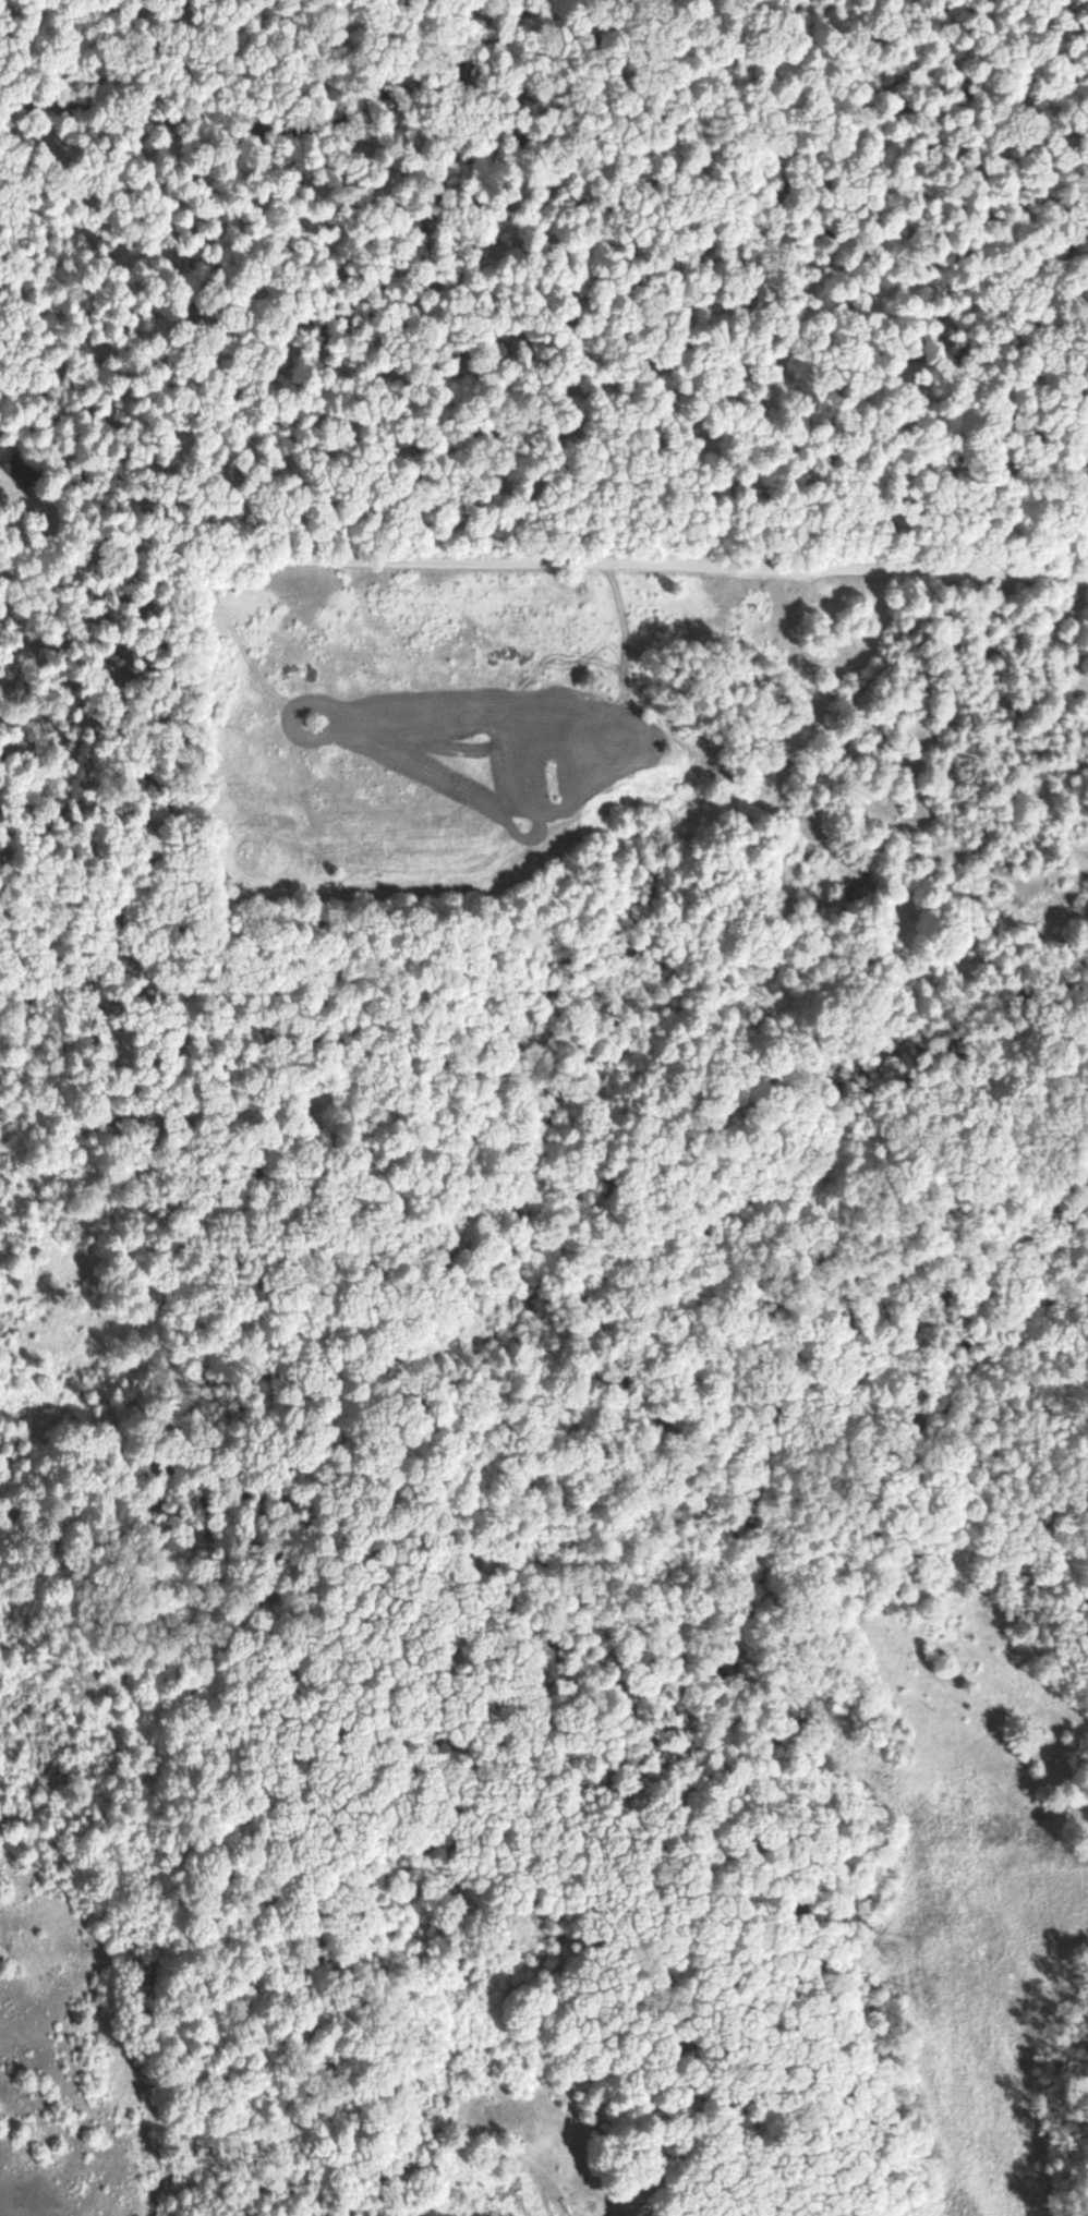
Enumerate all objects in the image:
building: (19, 471)
road: (543, 560)

